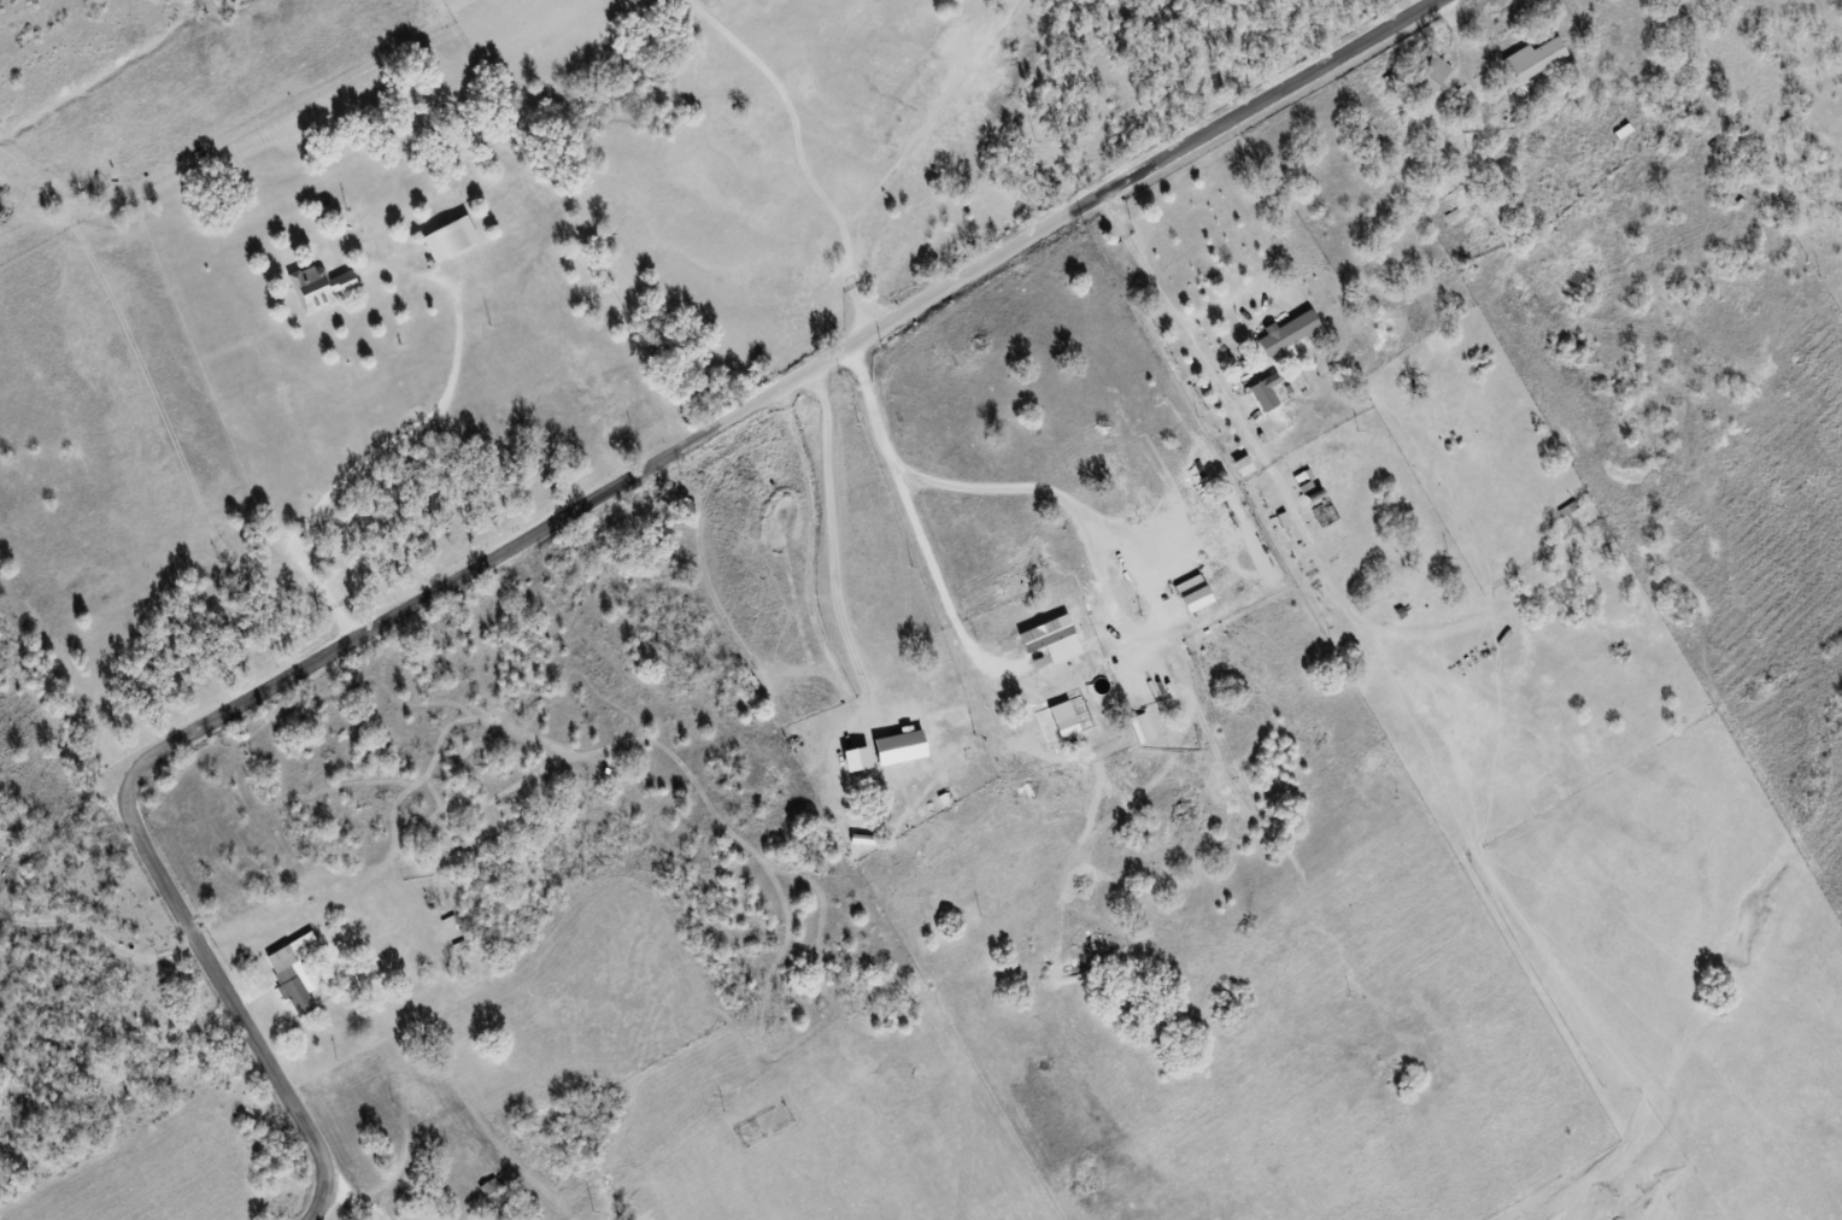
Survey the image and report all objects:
building: (1533, 58)
building: (1429, 76)
road: (1513, 136)
road: (798, 153)
building: (448, 239)
building: (317, 288)
road: (1171, 310)
building: (1286, 334)
building: (1263, 393)
road: (388, 438)
building: (1242, 467)
road: (911, 506)
road: (569, 514)
road: (817, 552)
building: (1051, 640)
building: (1067, 728)
building: (901, 746)
building: (857, 759)
building: (292, 973)
road: (627, 1118)
road: (468, 1167)
road: (351, 1204)

